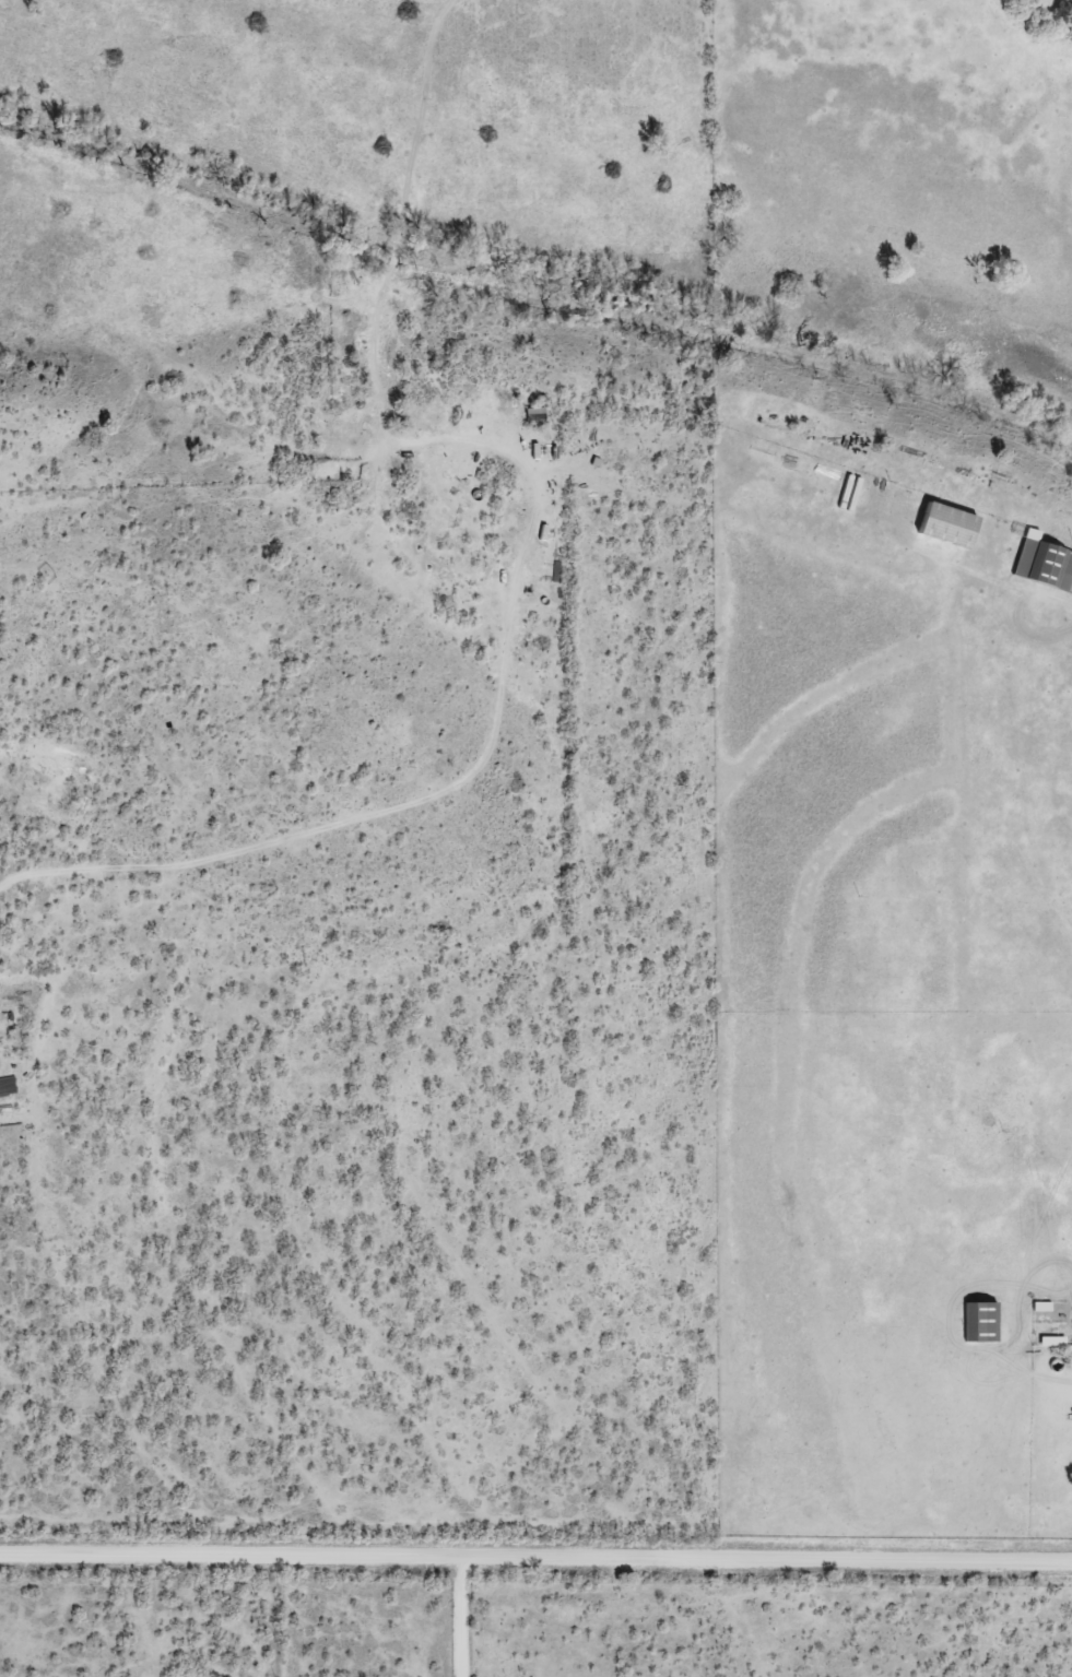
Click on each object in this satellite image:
building: (1042, 562)
road: (502, 719)
building: (1047, 1316)
building: (979, 1321)
building: (1051, 1339)
road: (535, 1561)
road: (142, 1619)
road: (459, 1619)

